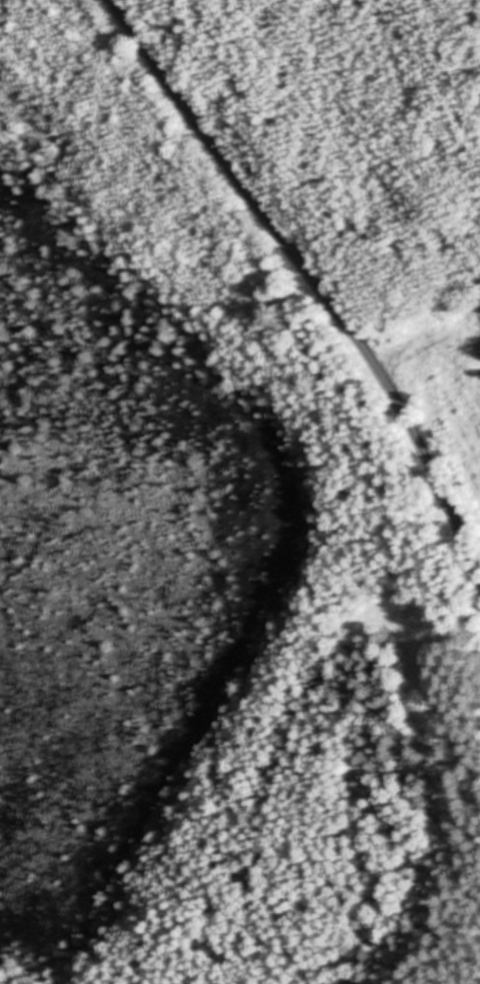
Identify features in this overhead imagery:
road: (313, 281)

